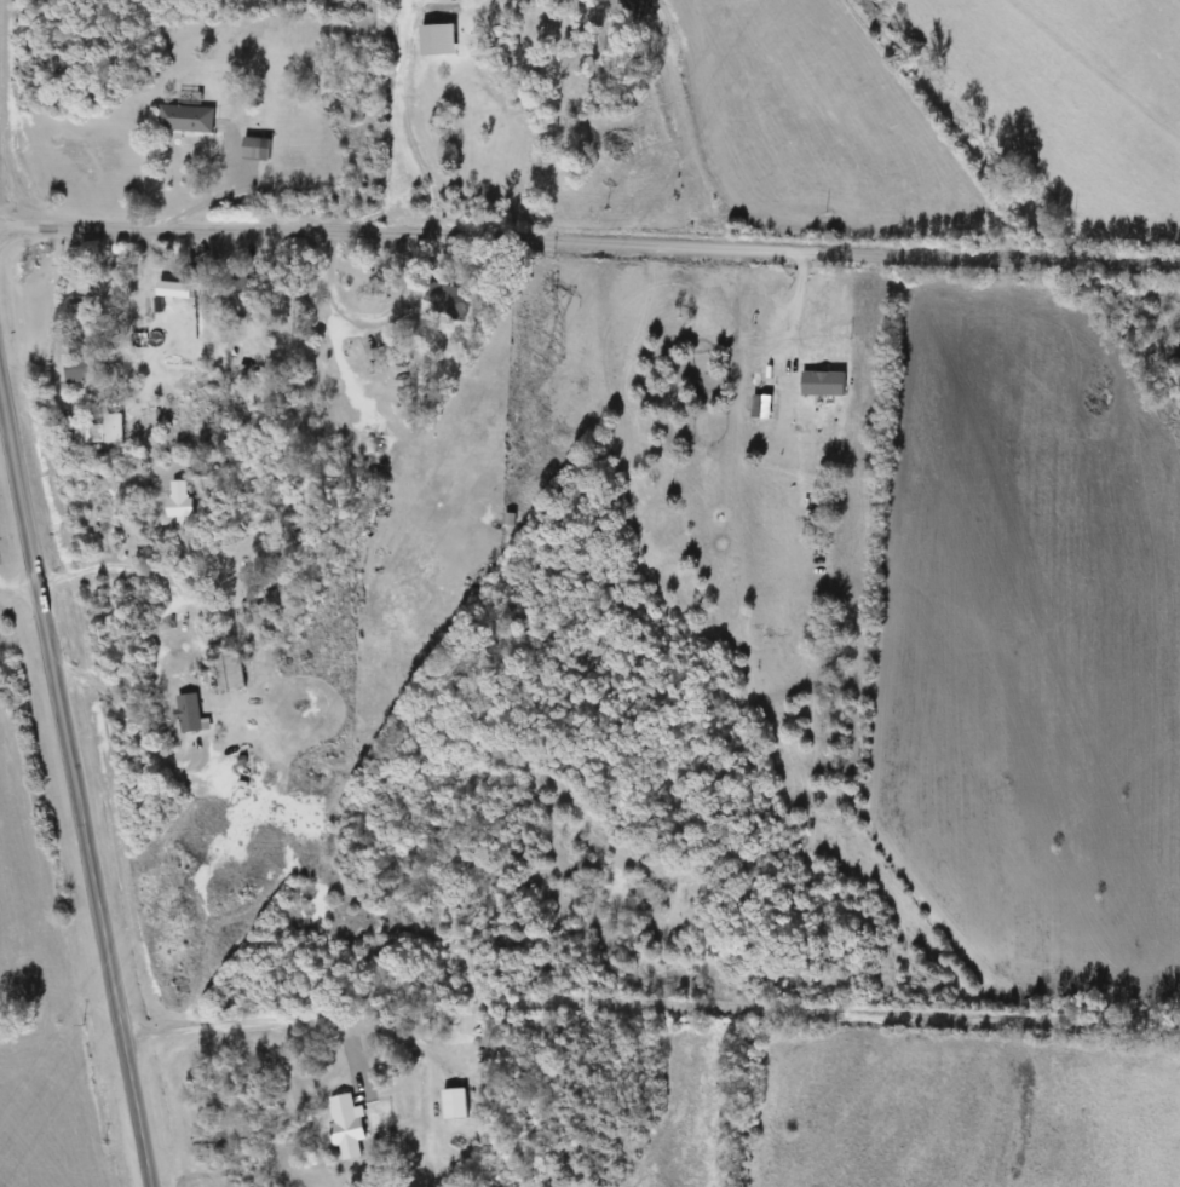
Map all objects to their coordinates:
road: (405, 105)
building: (186, 120)
building: (258, 149)
road: (589, 242)
building: (246, 288)
building: (445, 302)
road: (792, 306)
building: (77, 313)
power tower: (553, 355)
building: (388, 356)
building: (81, 370)
building: (824, 384)
building: (109, 431)
building: (179, 500)
road: (116, 563)
road: (24, 611)
building: (231, 672)
building: (190, 714)
road: (131, 726)
road: (75, 782)
power tower: (185, 915)
road: (651, 1004)
building: (456, 1105)
building: (349, 1129)

